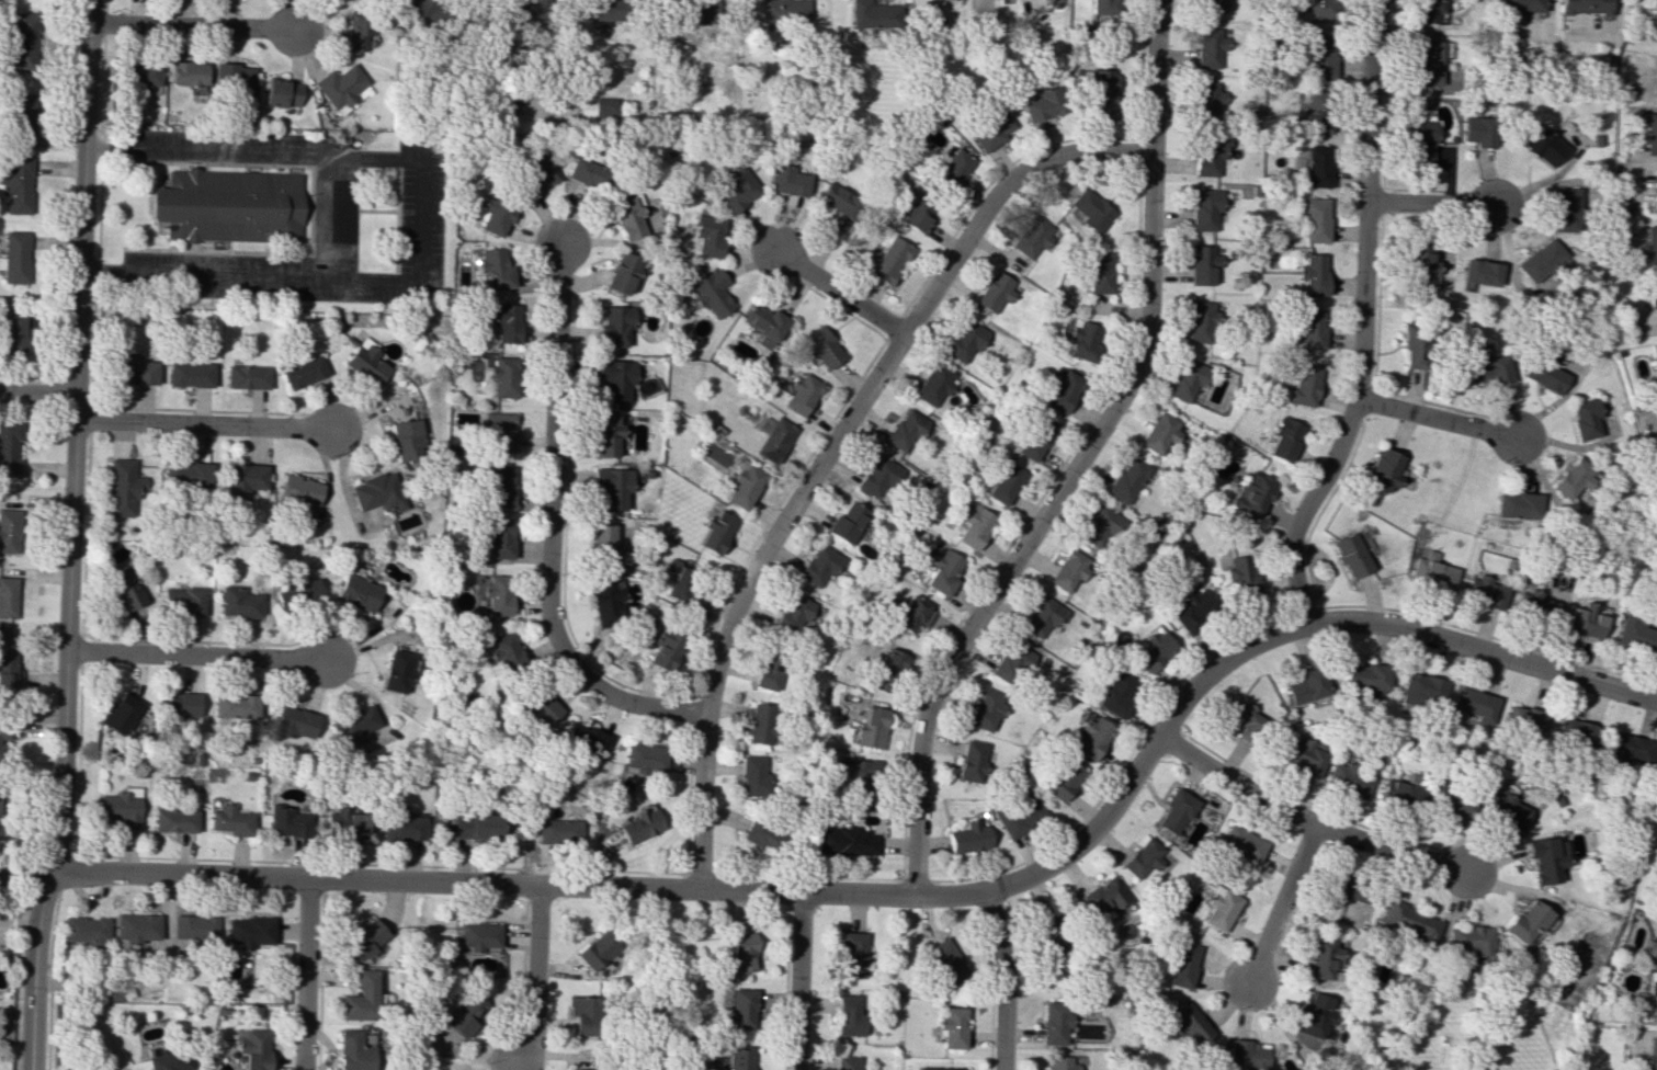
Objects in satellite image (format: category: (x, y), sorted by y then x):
building: (1003, 1)
building: (1521, 4)
building: (1102, 5)
building: (1211, 5)
building: (1584, 7)
building: (1319, 8)
building: (523, 9)
building: (783, 10)
building: (1428, 10)
building: (604, 11)
building: (699, 11)
building: (421, 12)
building: (872, 14)
road: (194, 26)
building: (362, 30)
building: (24, 42)
building: (1208, 47)
road: (561, 49)
building: (1321, 57)
building: (1429, 60)
building: (143, 72)
building: (190, 72)
building: (235, 76)
building: (340, 87)
building: (1102, 90)
building: (283, 93)
building: (1208, 100)
building: (1044, 104)
building: (600, 107)
building: (1318, 112)
building: (22, 119)
building: (991, 128)
building: (1479, 130)
building: (1650, 134)
building: (1421, 141)
building: (1541, 145)
building: (1208, 155)
road: (296, 166)
building: (1318, 166)
building: (954, 168)
building: (540, 171)
building: (586, 175)
building: (788, 180)
building: (16, 183)
building: (737, 192)
building: (1655, 194)
building: (839, 200)
road: (1431, 204)
building: (232, 205)
building: (1205, 208)
building: (1565, 208)
building: (1090, 209)
road: (379, 210)
parking lot: (381, 210)
building: (913, 213)
building: (495, 216)
building: (629, 217)
road: (341, 218)
building: (1316, 219)
road: (398, 220)
road: (422, 220)
building: (708, 235)
building: (1034, 237)
building: (1649, 244)
building: (15, 258)
building: (889, 261)
building: (1541, 261)
building: (1419, 262)
building: (1202, 264)
building: (496, 269)
building: (622, 272)
building: (1098, 272)
building: (1480, 272)
building: (1315, 274)
building: (995, 292)
building: (712, 293)
road: (842, 293)
building: (1653, 299)
building: (504, 321)
building: (1201, 321)
road: (1362, 321)
building: (764, 323)
building: (614, 326)
building: (1312, 328)
building: (14, 332)
building: (965, 340)
building: (1082, 340)
building: (820, 345)
building: (1416, 346)
building: (367, 362)
building: (1655, 365)
building: (1486, 367)
building: (136, 369)
building: (305, 372)
building: (1545, 373)
building: (191, 374)
building: (248, 376)
building: (504, 376)
building: (616, 378)
building: (1185, 380)
building: (934, 385)
building: (1304, 385)
building: (1060, 389)
road: (37, 392)
building: (802, 394)
building: (1584, 418)
road: (1437, 421)
road: (203, 425)
building: (500, 431)
building: (906, 431)
building: (1161, 432)
building: (605, 435)
building: (1035, 437)
building: (773, 439)
building: (1286, 439)
building: (407, 441)
building: (9, 448)
road: (830, 448)
road: (1079, 460)
building: (1384, 469)
building: (186, 475)
building: (877, 477)
building: (245, 478)
building: (1128, 479)
building: (1571, 480)
building: (1005, 483)
building: (744, 485)
building: (501, 486)
building: (613, 486)
building: (123, 488)
building: (299, 489)
building: (378, 492)
building: (1253, 493)
building: (1517, 505)
building: (847, 522)
building: (1100, 525)
building: (974, 526)
road: (554, 530)
building: (9, 531)
building: (716, 532)
road: (70, 536)
building: (499, 537)
building: (604, 545)
building: (1353, 553)
building: (819, 566)
building: (1069, 570)
building: (944, 571)
building: (1241, 573)
building: (1434, 574)
building: (680, 582)
building: (126, 588)
building: (1483, 591)
building: (356, 592)
building: (296, 593)
building: (498, 594)
building: (8, 596)
building: (183, 600)
building: (238, 602)
building: (605, 602)
building: (1533, 604)
building: (1193, 611)
building: (792, 613)
building: (913, 614)
building: (1043, 616)
building: (1585, 621)
building: (1636, 633)
building: (665, 648)
building: (499, 650)
building: (1155, 650)
road: (194, 656)
building: (1012, 663)
building: (768, 669)
building: (888, 669)
building: (10, 671)
building: (396, 671)
building: (1366, 679)
building: (1307, 686)
building: (1421, 690)
building: (1116, 692)
building: (180, 704)
building: (1474, 704)
building: (235, 706)
building: (538, 707)
building: (987, 709)
building: (121, 713)
building: (1523, 719)
building: (1242, 720)
building: (293, 722)
building: (759, 724)
building: (354, 726)
building: (870, 728)
building: (1575, 732)
building: (1092, 737)
building: (581, 739)
building: (1, 741)
building: (1625, 749)
building: (1305, 755)
building: (643, 758)
building: (971, 761)
building: (856, 772)
building: (753, 776)
building: (1062, 779)
building: (1348, 779)
building: (1398, 793)
building: (1448, 799)
building: (121, 807)
building: (1505, 810)
building: (1174, 811)
building: (1, 813)
building: (1019, 815)
building: (174, 820)
building: (229, 820)
road: (1303, 820)
building: (287, 822)
building: (344, 822)
building: (639, 824)
building: (401, 826)
building: (475, 826)
building: (556, 831)
building: (761, 834)
building: (967, 838)
building: (843, 841)
building: (1241, 844)
building: (1142, 857)
building: (1543, 858)
building: (1349, 890)
road: (888, 895)
building: (1105, 897)
road: (1282, 906)
building: (1219, 908)
road: (164, 914)
building: (1522, 921)
building: (1409, 922)
building: (136, 926)
building: (192, 927)
building: (86, 930)
building: (248, 931)
building: (477, 935)
building: (1049, 937)
building: (362, 940)
building: (1656, 946)
building: (597, 949)
building: (741, 952)
building: (852, 954)
building: (1323, 958)
building: (1656, 959)
building: (945, 960)
building: (1183, 964)
road: (302, 975)
road: (534, 977)
road: (1003, 980)
road: (796, 981)
building: (1652, 991)
building: (356, 998)
building: (739, 1008)
building: (582, 1014)
building: (848, 1014)
building: (464, 1015)
building: (1314, 1015)
building: (1054, 1022)
building: (951, 1026)
building: (250, 1048)
building: (349, 1051)
building: (1247, 1055)
building: (1650, 1055)
building: (738, 1058)
building: (169, 1060)
building: (845, 1062)
building: (1062, 1063)
building: (942, 1068)

